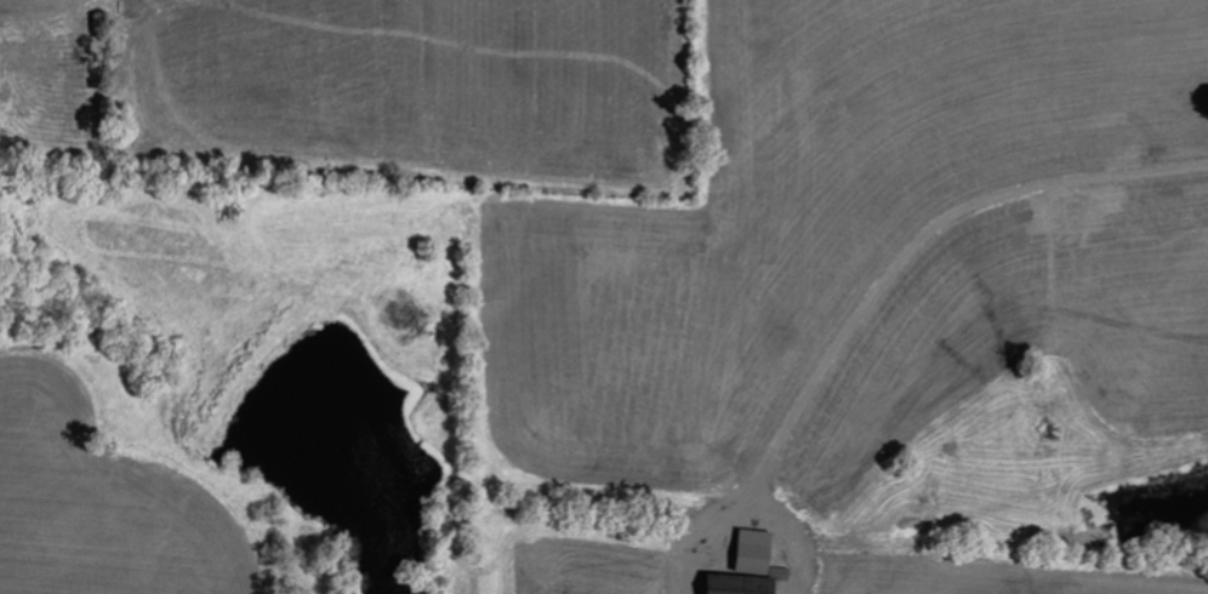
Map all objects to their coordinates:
road: (913, 242)
building: (753, 553)
building: (739, 586)

